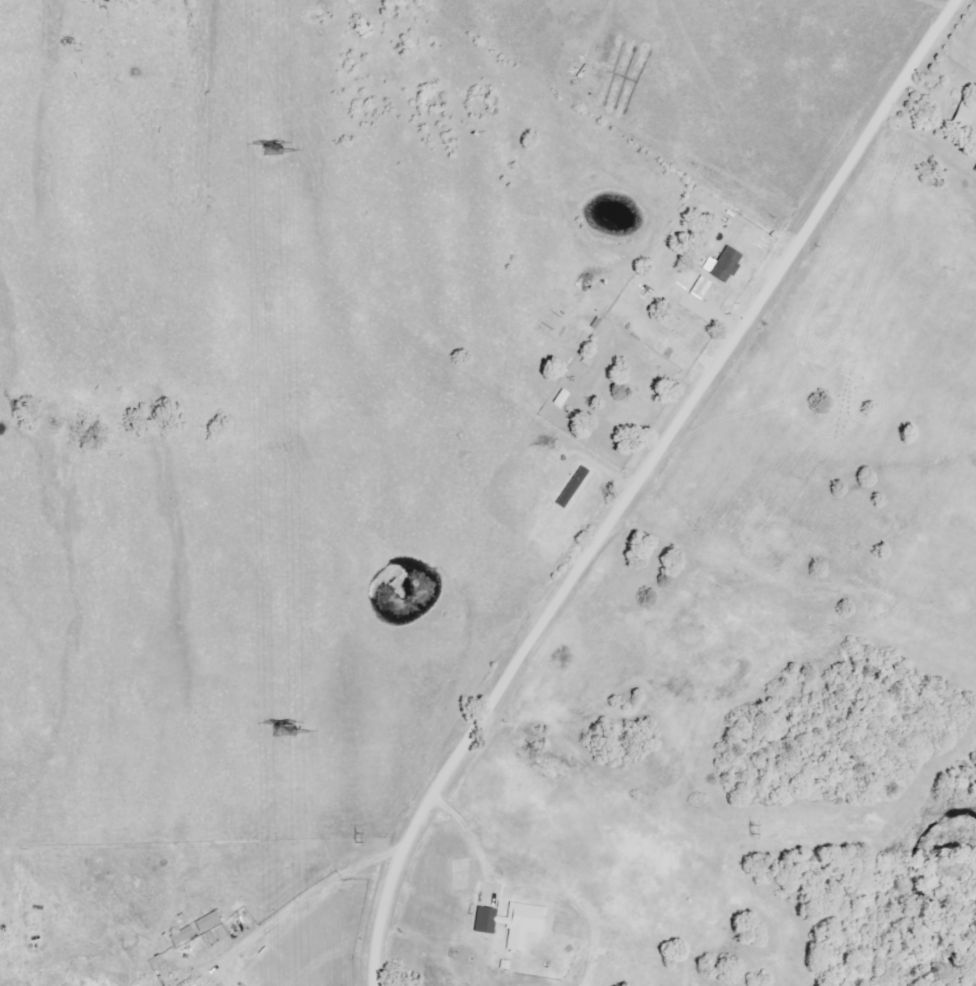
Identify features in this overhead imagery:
power tower: (270, 148)
building: (974, 169)
building: (722, 265)
building: (700, 288)
road: (632, 479)
power tower: (284, 731)
power tower: (743, 829)
power tower: (352, 840)
building: (206, 921)
building: (510, 922)
building: (181, 935)

